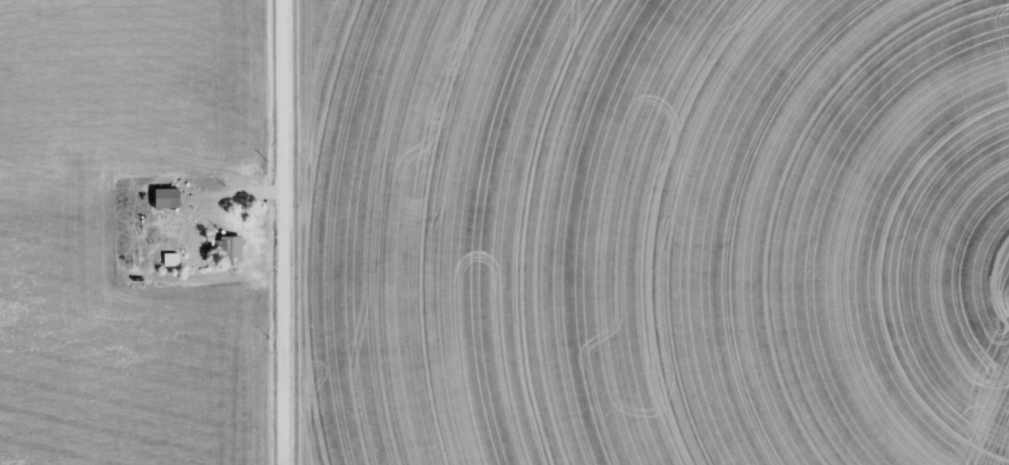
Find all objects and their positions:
road: (283, 232)
building: (173, 260)

